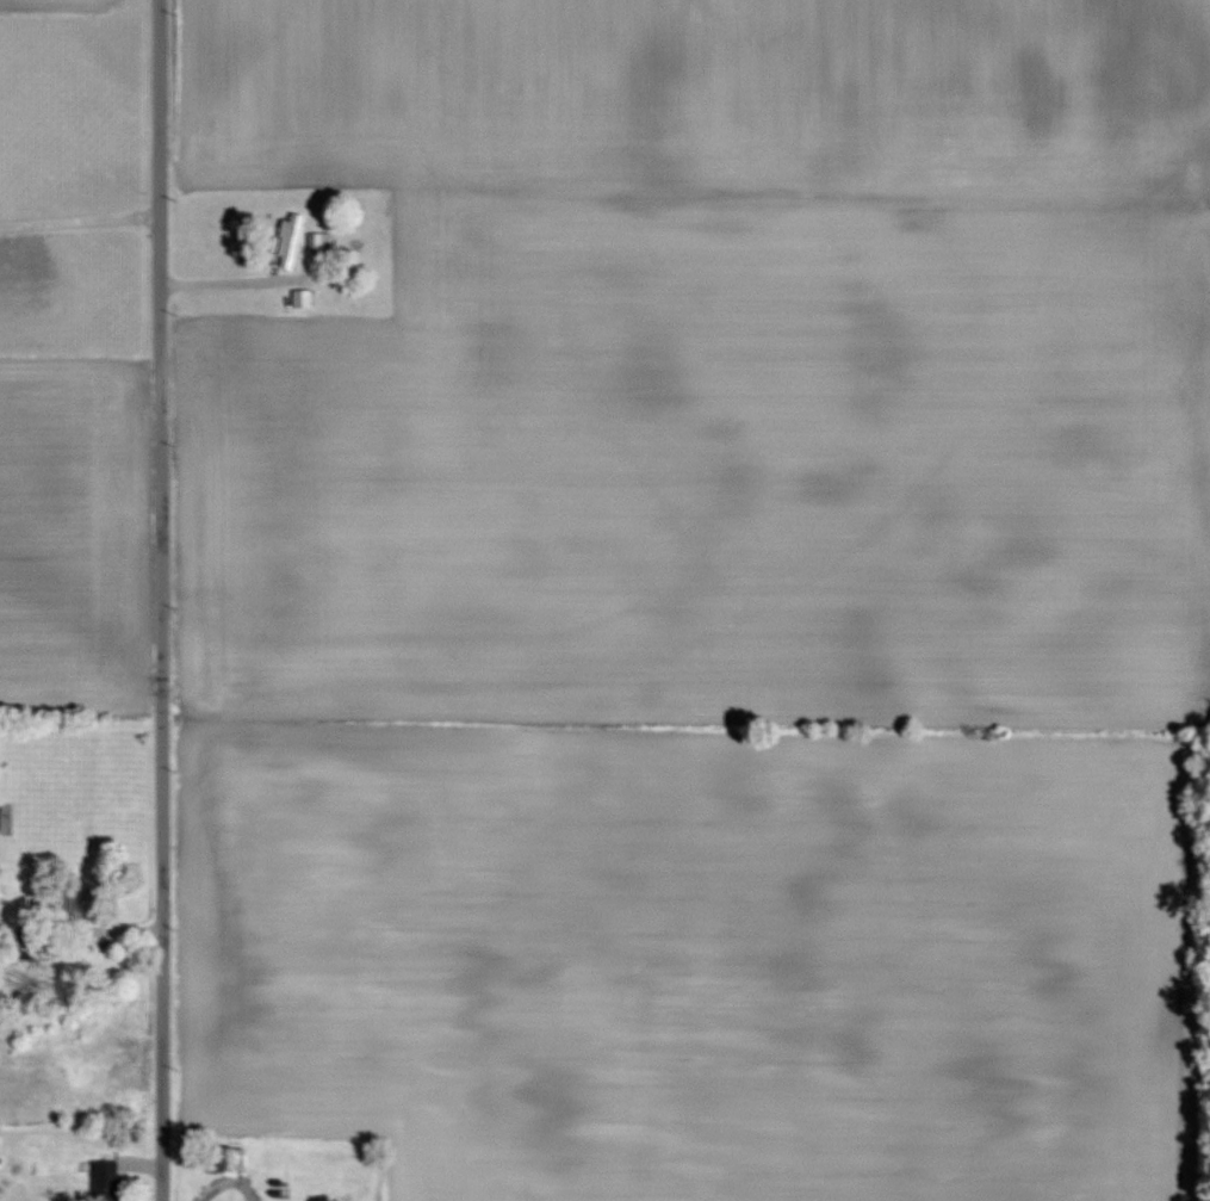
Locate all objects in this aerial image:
road: (80, 216)
building: (287, 241)
building: (316, 241)
road: (160, 600)
building: (75, 904)
building: (26, 936)
building: (223, 1162)
building: (103, 1182)

